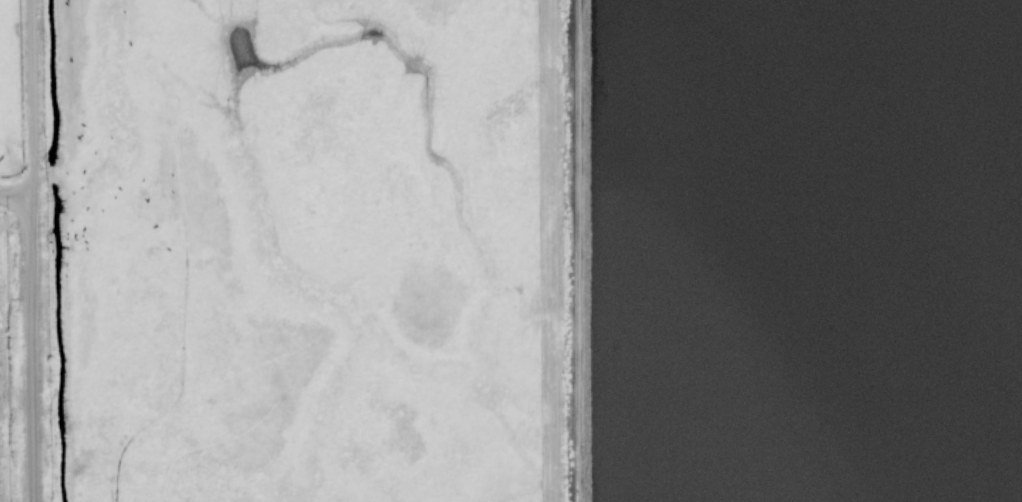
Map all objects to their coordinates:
road: (29, 96)
road: (13, 193)
wastewater plant: (782, 250)
road: (28, 347)

